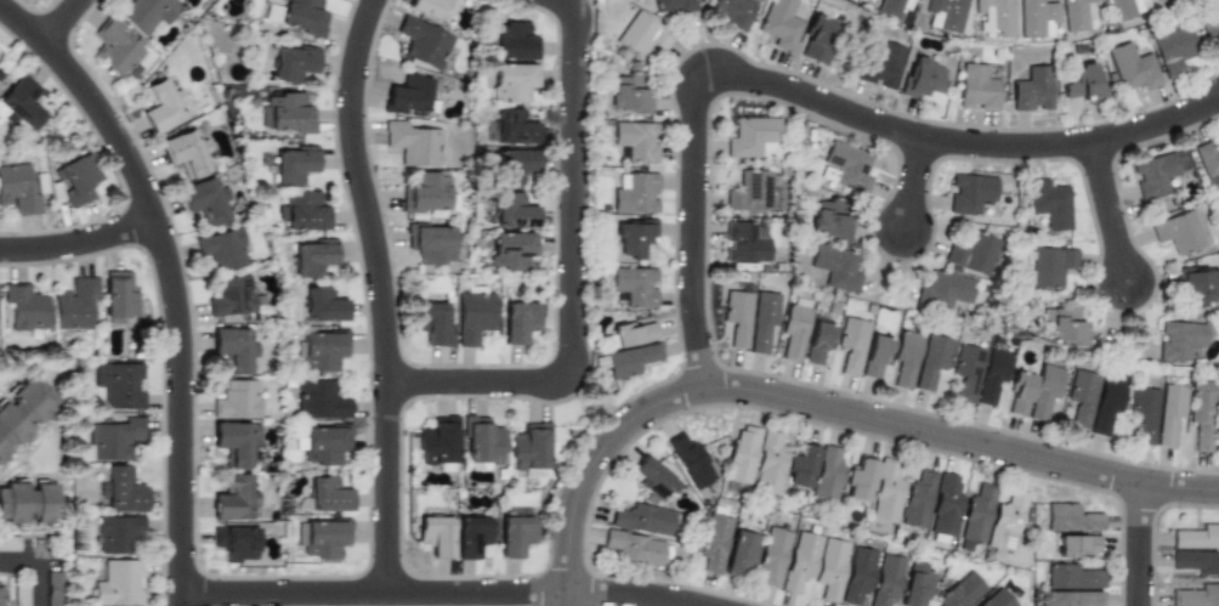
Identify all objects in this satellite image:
building: (671, 5)
building: (892, 6)
building: (432, 7)
building: (1126, 9)
building: (147, 12)
building: (730, 12)
building: (1075, 13)
building: (945, 15)
building: (302, 16)
building: (994, 17)
building: (1036, 18)
road: (63, 22)
building: (778, 23)
building: (641, 35)
building: (1217, 35)
building: (816, 38)
building: (423, 41)
building: (511, 41)
street lamp: (16, 43)
building: (115, 47)
street lamp: (692, 47)
building: (1173, 50)
building: (293, 63)
street lamp: (557, 64)
building: (879, 66)
building: (1132, 67)
building: (922, 79)
building: (512, 81)
building: (1083, 84)
building: (976, 89)
building: (1032, 89)
street lamp: (335, 92)
building: (408, 95)
building: (629, 95)
road: (809, 96)
building: (19, 103)
building: (161, 106)
street lamp: (124, 112)
building: (289, 113)
street lamp: (807, 115)
street lamp: (948, 120)
building: (514, 128)
building: (750, 136)
building: (636, 140)
building: (414, 145)
street lamp: (1132, 151)
building: (183, 153)
building: (1207, 158)
street lamp: (715, 163)
building: (294, 164)
building: (512, 165)
building: (847, 166)
building: (1152, 174)
building: (75, 176)
road: (915, 183)
building: (17, 189)
road: (365, 189)
street lamp: (556, 189)
building: (750, 191)
building: (425, 192)
building: (969, 192)
building: (635, 194)
building: (205, 200)
building: (1049, 203)
building: (304, 211)
building: (512, 211)
road: (1111, 213)
street lamp: (391, 220)
building: (829, 220)
street lamp: (57, 227)
building: (1178, 232)
building: (635, 237)
building: (475, 242)
building: (743, 242)
building: (430, 243)
road: (79, 244)
building: (222, 249)
building: (511, 250)
building: (971, 253)
building: (312, 257)
street lamp: (929, 257)
street lamp: (149, 264)
building: (1050, 265)
building: (834, 266)
road: (172, 277)
road: (573, 277)
building: (1196, 283)
building: (634, 285)
building: (942, 290)
building: (119, 295)
building: (232, 296)
street lamp: (1158, 302)
building: (75, 305)
building: (322, 305)
building: (24, 306)
street lamp: (675, 312)
building: (474, 315)
building: (736, 316)
building: (518, 321)
building: (761, 321)
building: (431, 323)
building: (1066, 325)
building: (793, 330)
building: (631, 334)
building: (1179, 339)
building: (817, 342)
building: (850, 342)
street lamp: (554, 345)
building: (233, 349)
building: (321, 350)
building: (873, 356)
building: (903, 357)
building: (630, 359)
building: (930, 359)
building: (964, 370)
building: (991, 374)
street lamp: (370, 378)
building: (119, 385)
street lamp: (824, 386)
building: (1044, 391)
building: (1019, 392)
building: (1081, 396)
building: (237, 400)
building: (319, 400)
street lamp: (465, 402)
road: (823, 406)
building: (1105, 406)
street lamp: (736, 408)
building: (1143, 413)
building: (1168, 413)
building: (23, 414)
building: (1201, 418)
street lamp: (202, 421)
street lamp: (593, 429)
building: (1215, 430)
building: (113, 438)
building: (437, 440)
building: (481, 440)
building: (236, 441)
street lamp: (1056, 441)
building: (325, 443)
building: (529, 446)
building: (741, 454)
street lamp: (941, 457)
building: (690, 459)
building: (767, 463)
building: (799, 465)
building: (499, 474)
building: (652, 477)
building: (824, 477)
building: (858, 481)
road: (389, 488)
building: (123, 489)
street lamp: (408, 491)
building: (885, 492)
building: (327, 494)
building: (234, 499)
building: (917, 499)
building: (29, 504)
building: (945, 506)
street lamp: (1175, 508)
building: (976, 512)
building: (1070, 517)
building: (641, 519)
building: (1004, 521)
building: (119, 533)
building: (435, 534)
building: (514, 534)
building: (470, 536)
building: (1196, 537)
building: (324, 538)
building: (236, 543)
building: (714, 543)
road: (1140, 543)
building: (8, 544)
building: (1076, 545)
building: (633, 546)
building: (739, 551)
building: (771, 556)
street lamp: (591, 557)
street lamp: (164, 559)
building: (800, 561)
building: (1196, 561)
building: (829, 567)
road: (40, 568)
street lamp: (499, 574)
building: (857, 574)
street lamp: (227, 576)
building: (1071, 577)
building: (886, 580)
building: (119, 583)
street lamp: (690, 584)
building: (917, 588)
building: (960, 591)
road: (375, 594)
road: (635, 594)
building: (51, 595)
building: (1, 596)
building: (21, 596)
building: (1196, 596)
building: (1072, 599)
building: (996, 600)

